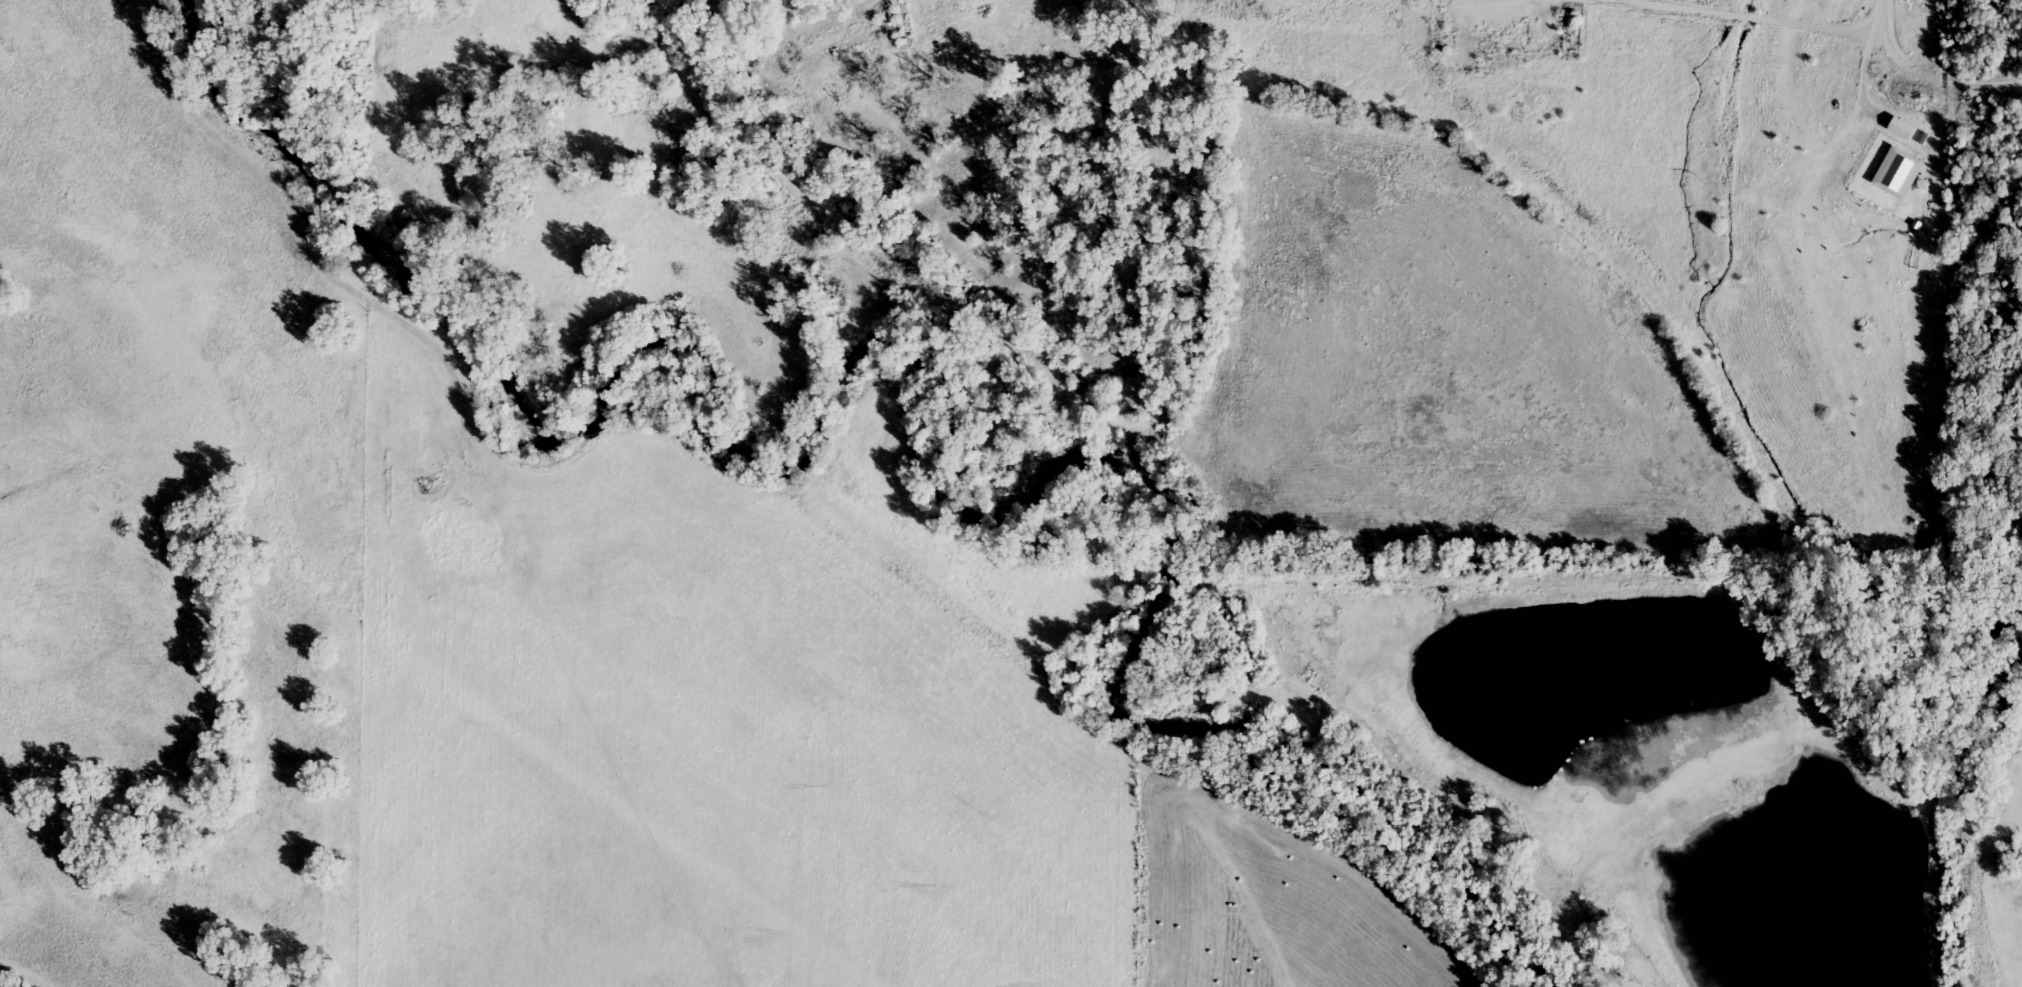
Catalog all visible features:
road: (1826, 25)
road: (1871, 45)
building: (1900, 174)

